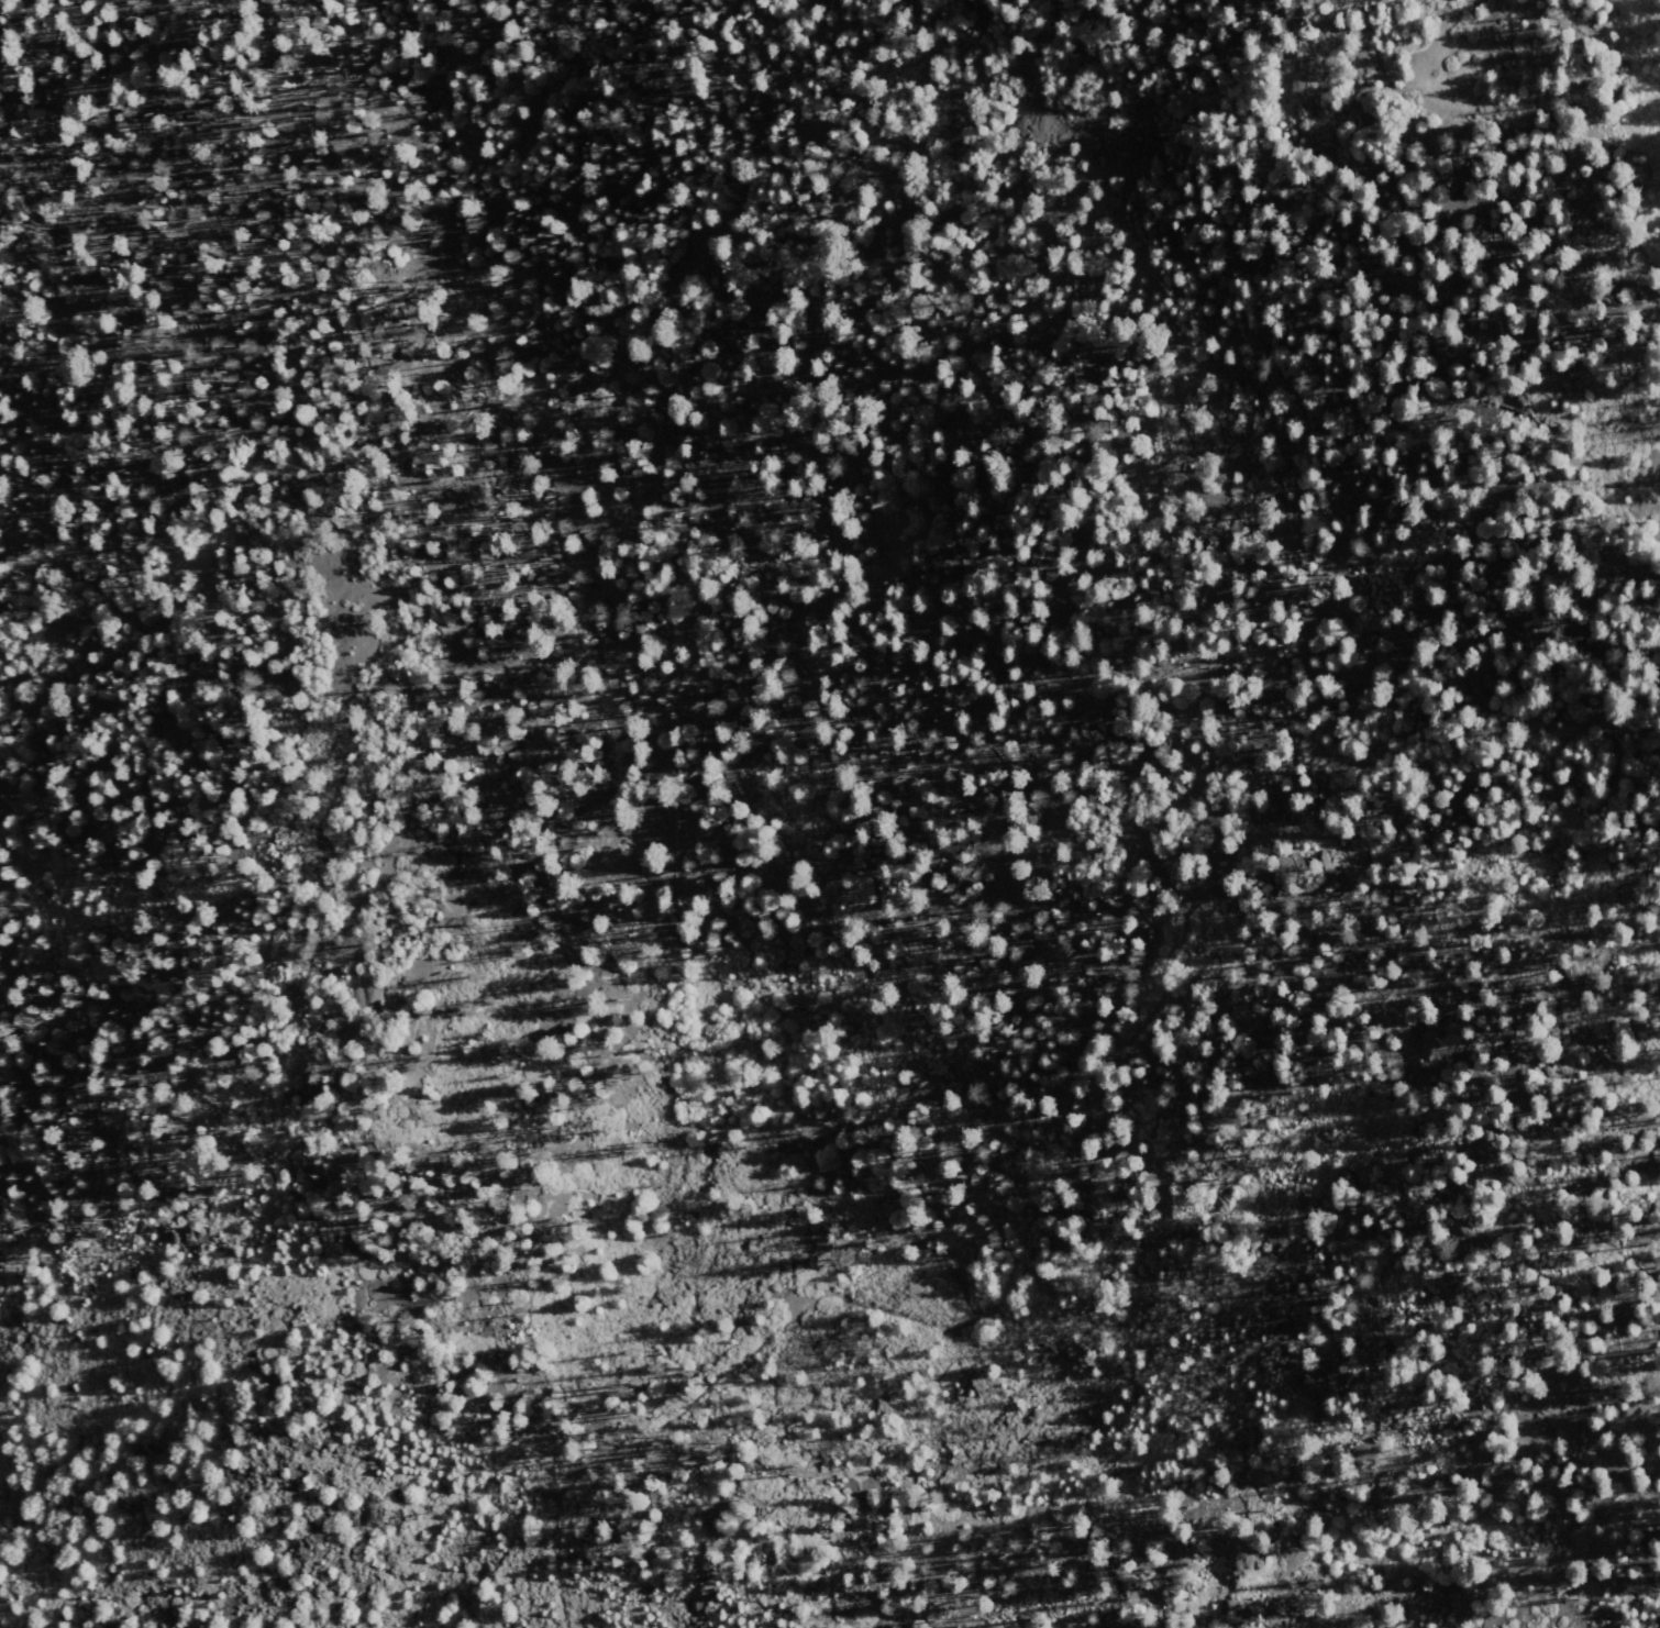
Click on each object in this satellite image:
road: (1645, 92)

